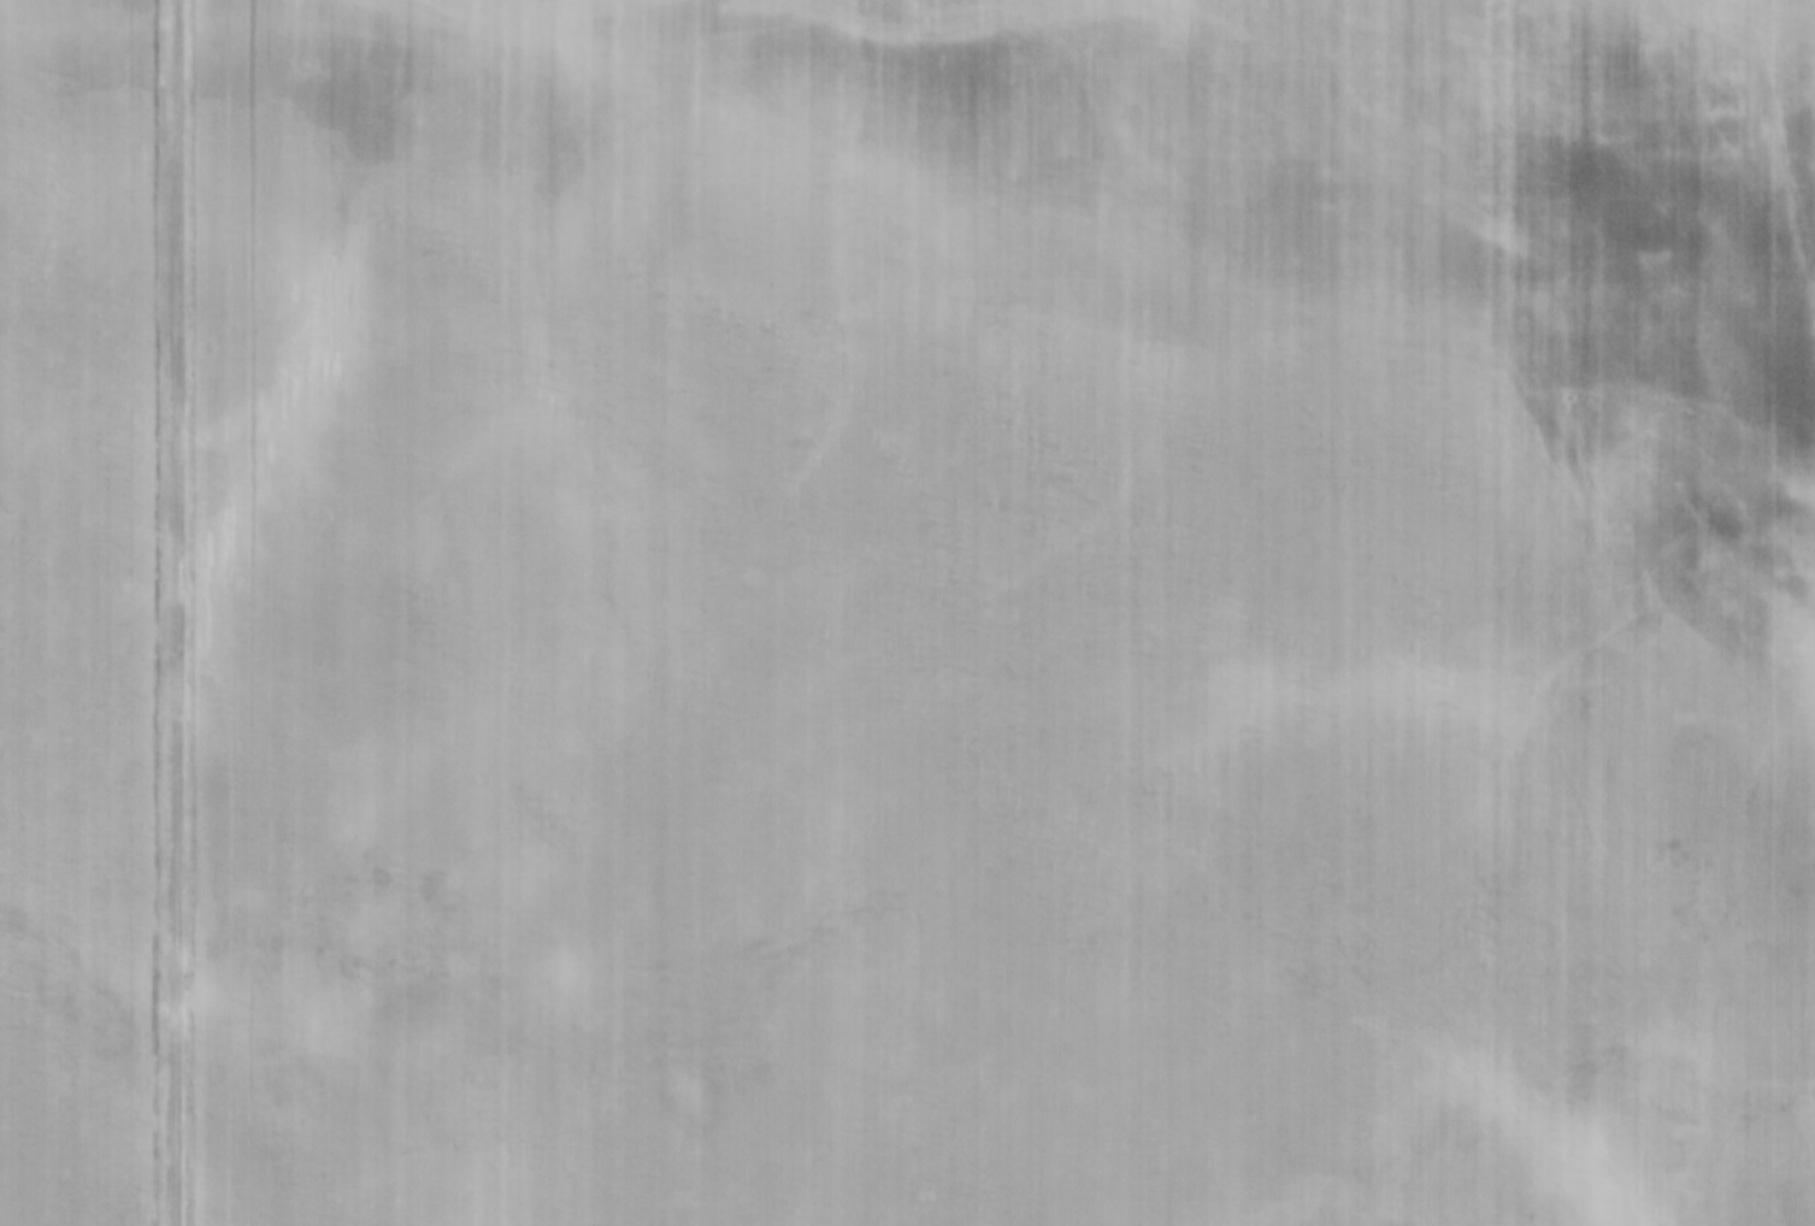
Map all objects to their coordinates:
road: (173, 612)

